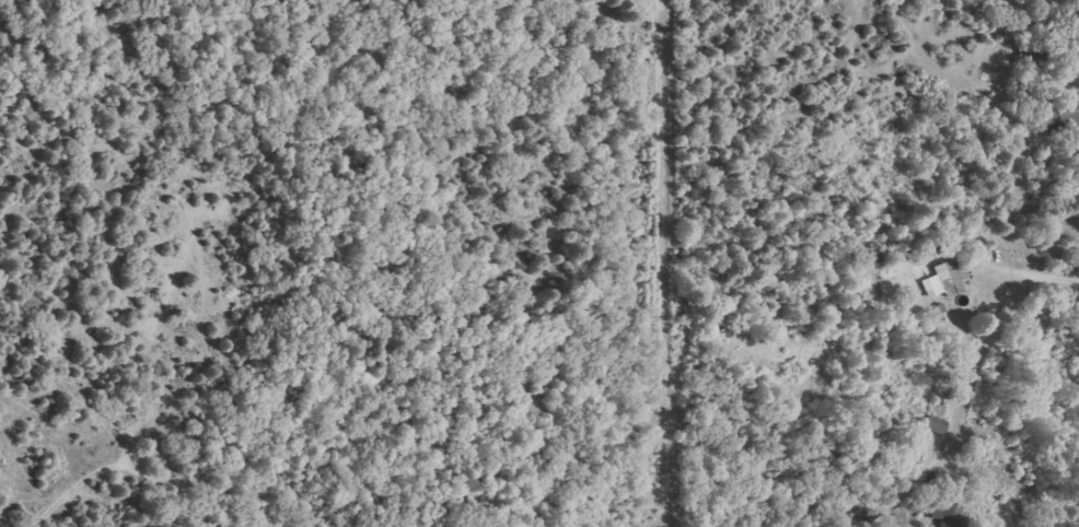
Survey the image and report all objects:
building: (1070, 108)
road: (1041, 270)
building: (947, 279)
building: (936, 424)

